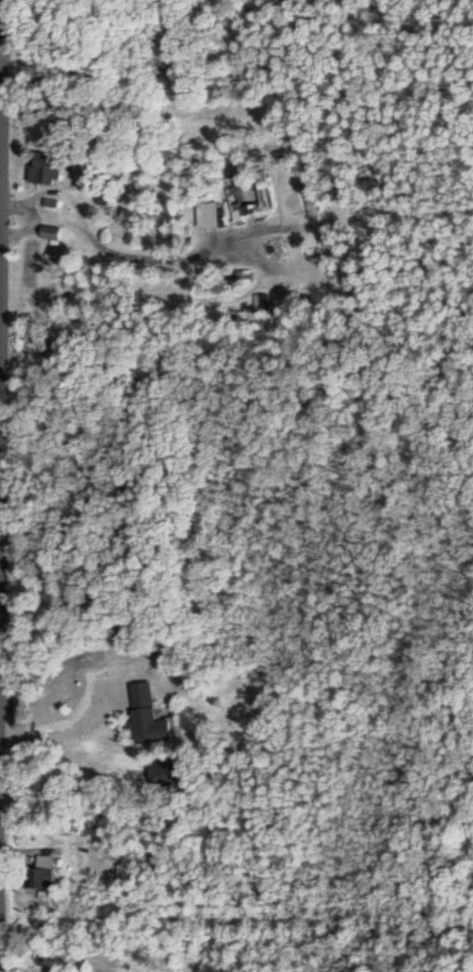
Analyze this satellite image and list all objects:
building: (43, 167)
building: (251, 195)
building: (208, 214)
building: (46, 231)
road: (2, 247)
building: (293, 301)
building: (140, 712)
building: (39, 873)
road: (2, 909)

